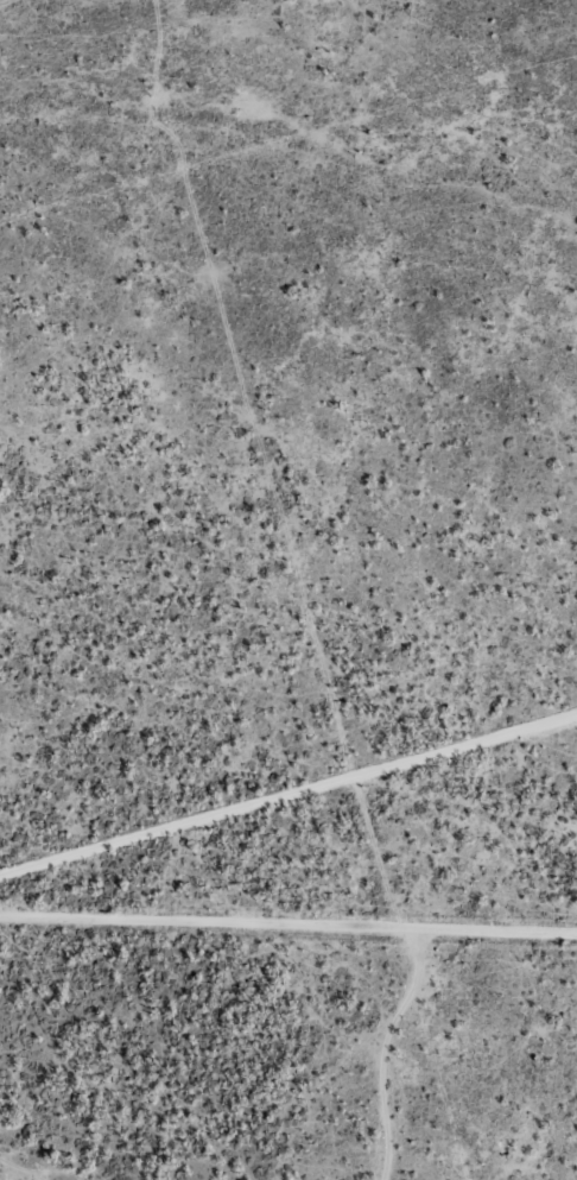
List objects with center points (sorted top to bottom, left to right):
road: (288, 923)

